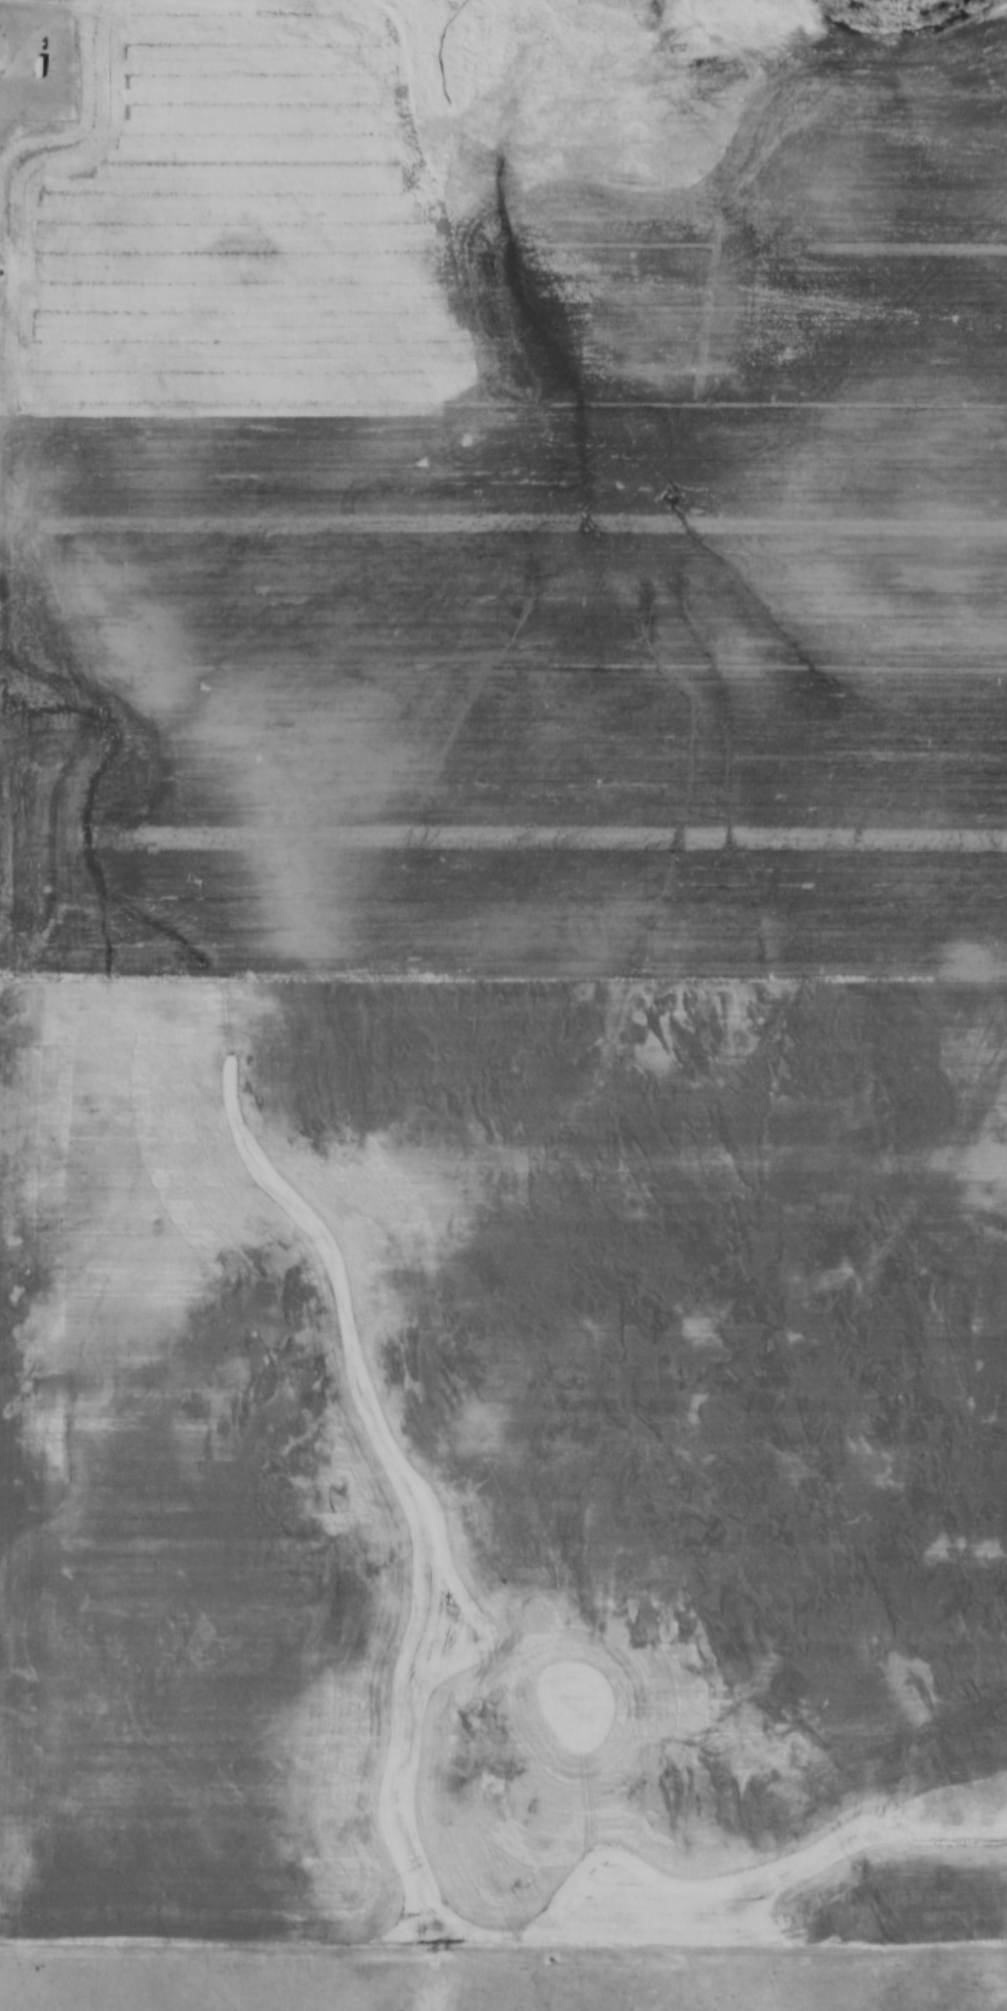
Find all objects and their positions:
park: (36, 59)
building: (0, 67)
road: (503, 1951)

